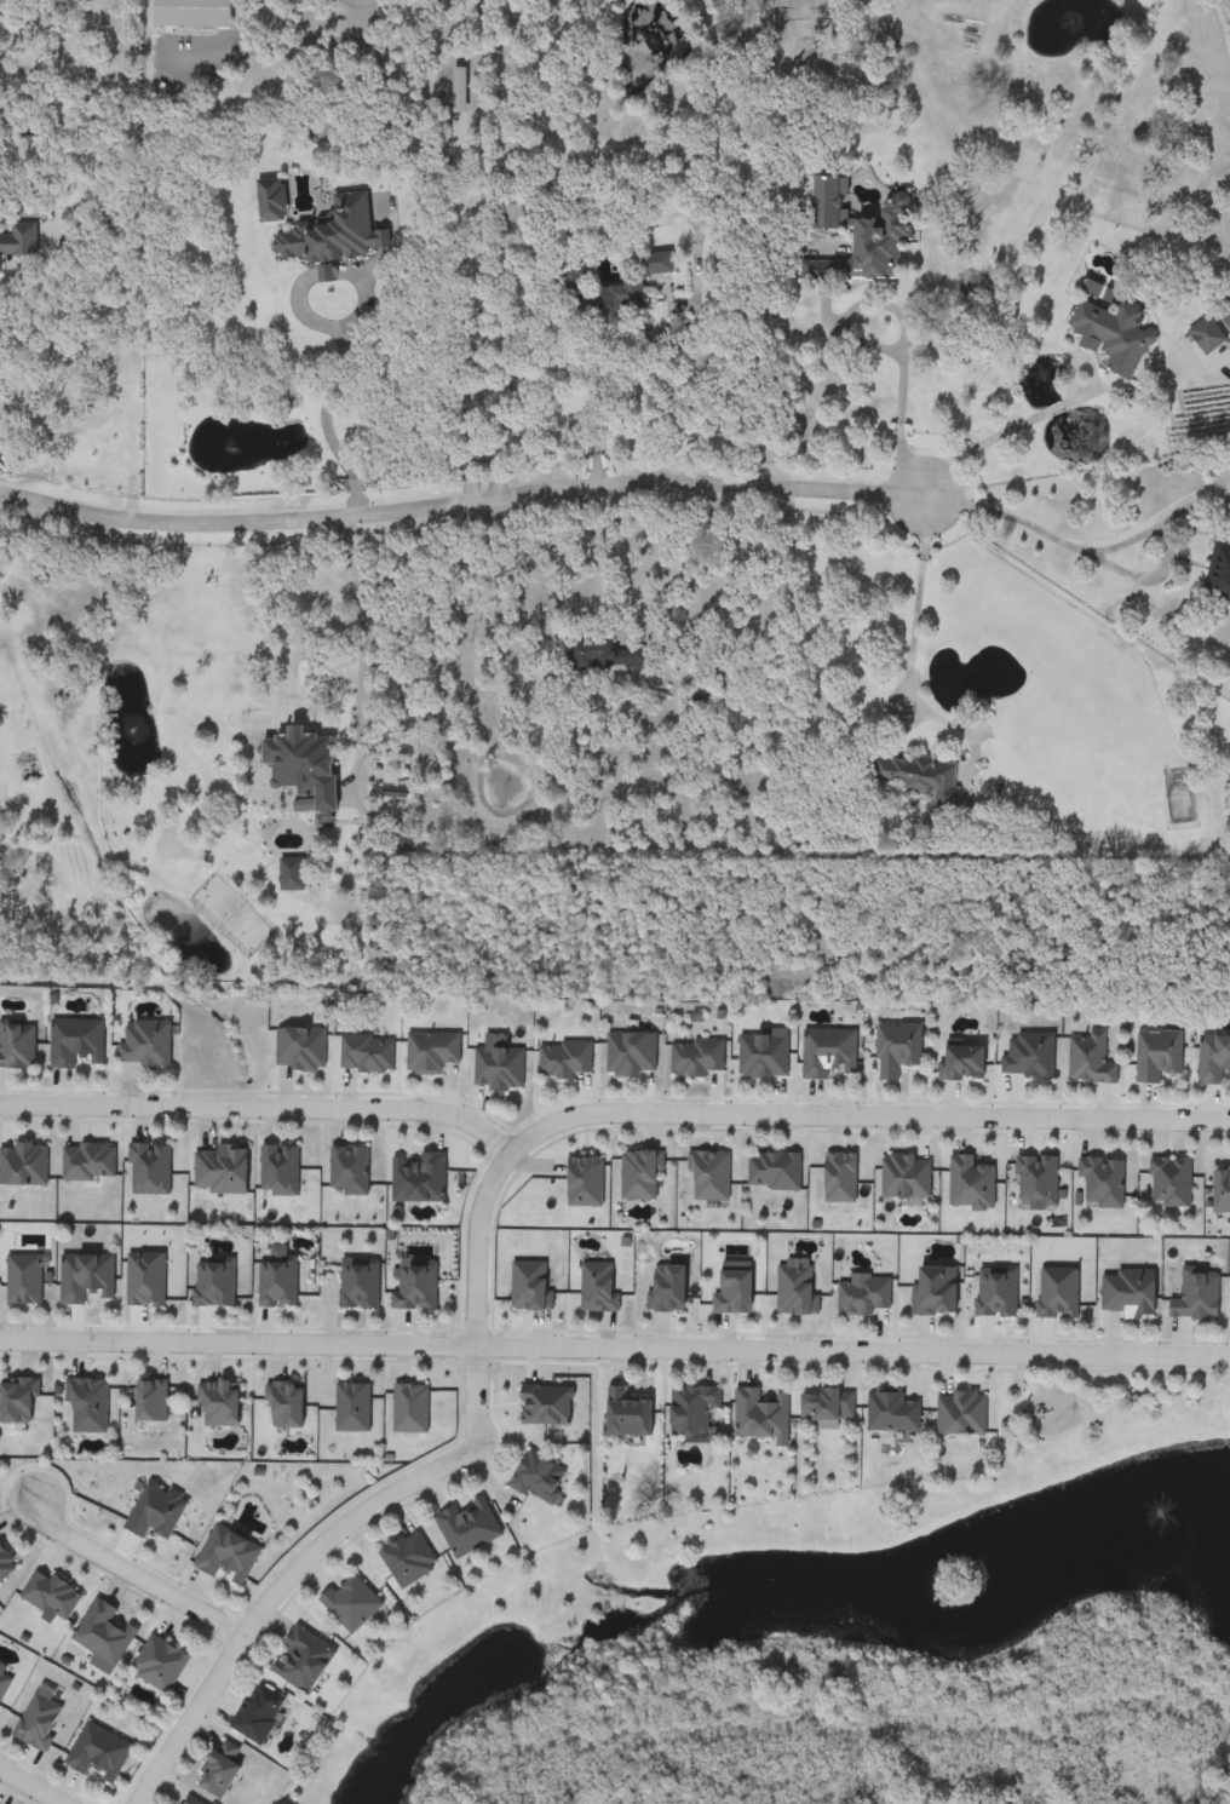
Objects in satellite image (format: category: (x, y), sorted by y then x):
building: (178, 13)
building: (269, 200)
building: (511, 206)
building: (331, 232)
building: (857, 235)
building: (18, 239)
building: (636, 280)
building: (1224, 314)
building: (1110, 335)
building: (1205, 335)
road: (632, 362)
road: (912, 378)
road: (326, 412)
road: (1004, 425)
road: (461, 507)
road: (1081, 541)
road: (613, 555)
building: (1218, 571)
road: (926, 613)
road: (364, 651)
building: (605, 655)
road: (288, 677)
building: (300, 765)
building: (915, 779)
building: (1177, 797)
building: (288, 877)
building: (74, 1044)
building: (144, 1045)
building: (17, 1046)
building: (298, 1050)
building: (896, 1050)
building: (430, 1052)
building: (827, 1053)
building: (364, 1055)
building: (630, 1055)
building: (1028, 1056)
building: (1156, 1056)
building: (761, 1057)
building: (695, 1058)
building: (1088, 1059)
building: (1213, 1059)
building: (563, 1061)
building: (961, 1064)
building: (498, 1069)
road: (260, 1105)
building: (87, 1162)
building: (23, 1166)
building: (148, 1170)
building: (219, 1171)
building: (347, 1171)
building: (277, 1172)
building: (772, 1172)
building: (638, 1176)
building: (708, 1177)
building: (904, 1177)
building: (416, 1179)
building: (839, 1179)
building: (1035, 1179)
building: (1100, 1182)
building: (1169, 1182)
building: (969, 1183)
road: (488, 1184)
building: (1220, 1191)
building: (85, 1276)
building: (144, 1279)
building: (213, 1282)
building: (276, 1282)
building: (357, 1282)
building: (414, 1285)
building: (596, 1287)
building: (794, 1289)
building: (933, 1289)
building: (995, 1292)
building: (1057, 1292)
building: (1127, 1292)
building: (861, 1294)
building: (1195, 1295)
road: (614, 1345)
building: (149, 1401)
building: (219, 1403)
building: (86, 1404)
building: (283, 1404)
building: (544, 1404)
building: (824, 1404)
building: (351, 1408)
building: (409, 1408)
building: (690, 1409)
building: (889, 1411)
building: (959, 1412)
building: (625, 1413)
building: (758, 1414)
building: (536, 1477)
building: (154, 1511)
building: (466, 1527)
building: (226, 1556)
building: (407, 1558)
building: (5, 1565)
road: (132, 1573)
building: (48, 1596)
building: (350, 1602)
building: (102, 1633)
building: (300, 1660)
building: (157, 1665)
building: (4, 1681)
building: (257, 1714)
building: (38, 1722)
building: (97, 1753)
building: (218, 1769)
road: (29, 1787)
building: (184, 1800)

